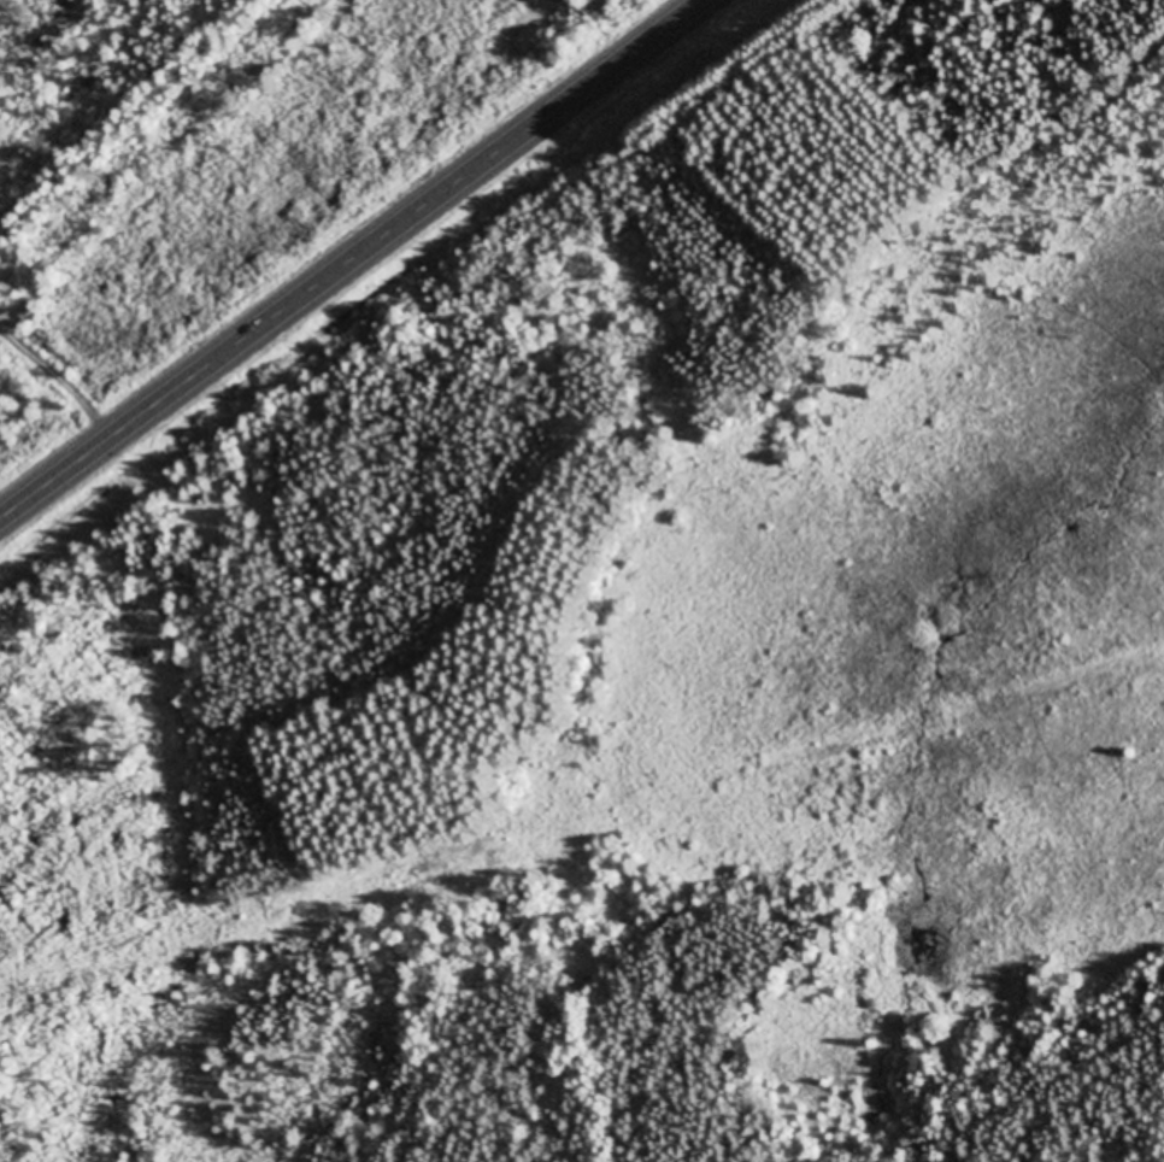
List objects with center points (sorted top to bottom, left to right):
road: (353, 260)
park: (108, 838)

